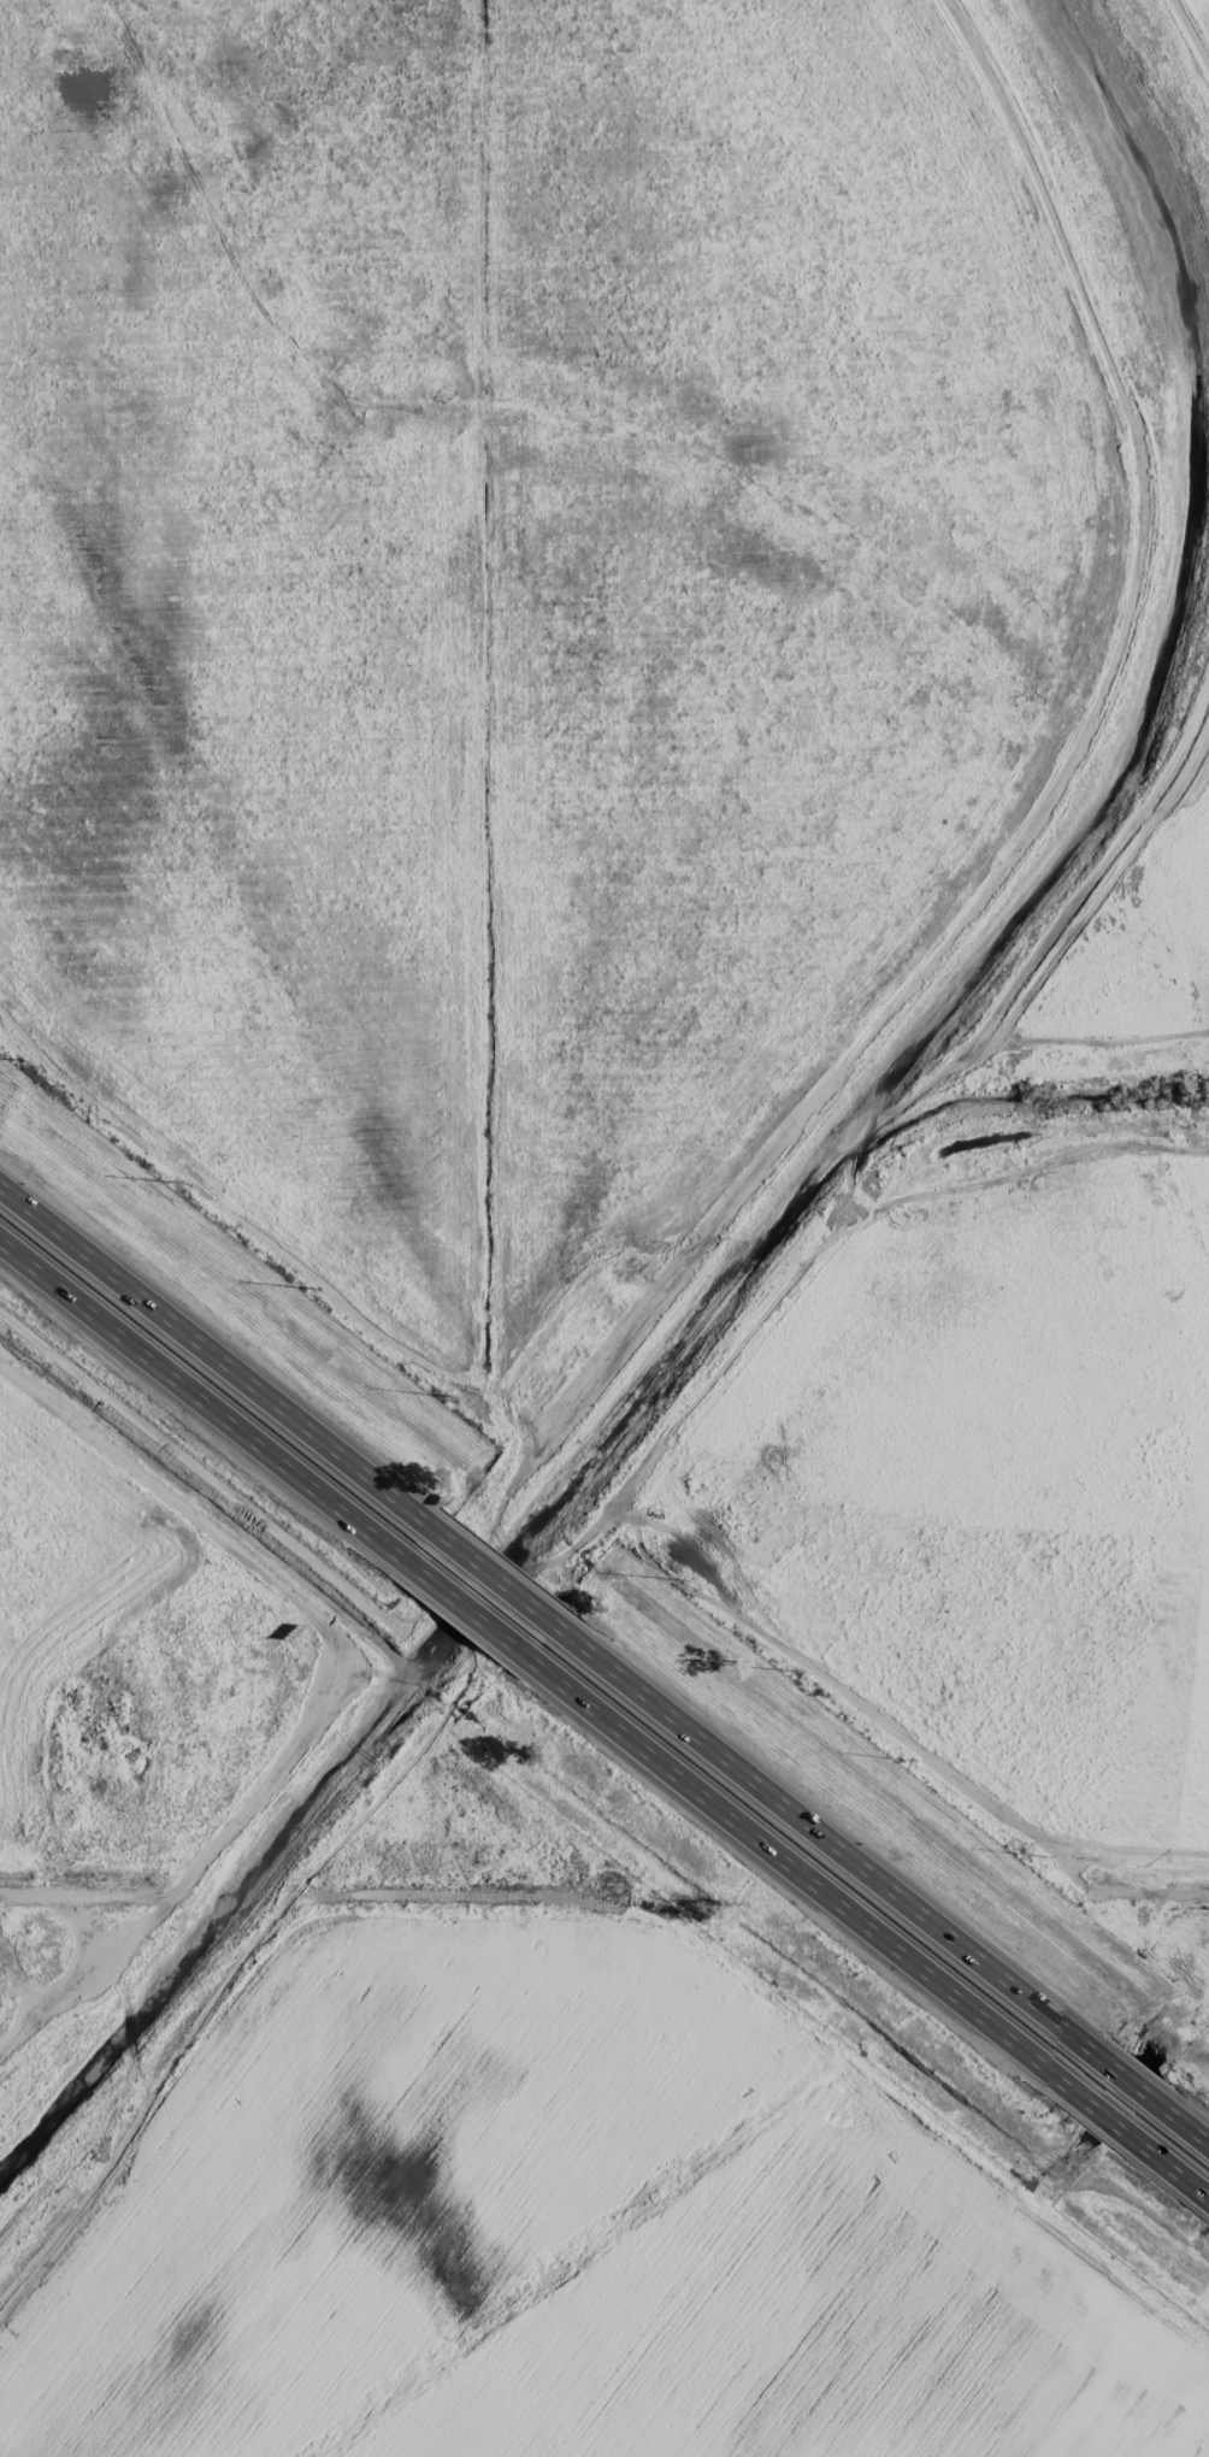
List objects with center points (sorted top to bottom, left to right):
road: (1191, 34)
road: (739, 1331)
road: (212, 1362)
road: (200, 1397)
river: (537, 1518)
road: (489, 1580)
road: (465, 1607)
road: (827, 1846)
road: (804, 1878)
road: (1203, 1881)
road: (87, 1895)
road: (1128, 2085)
road: (1109, 2114)
road: (1181, 2127)
road: (1172, 2163)

